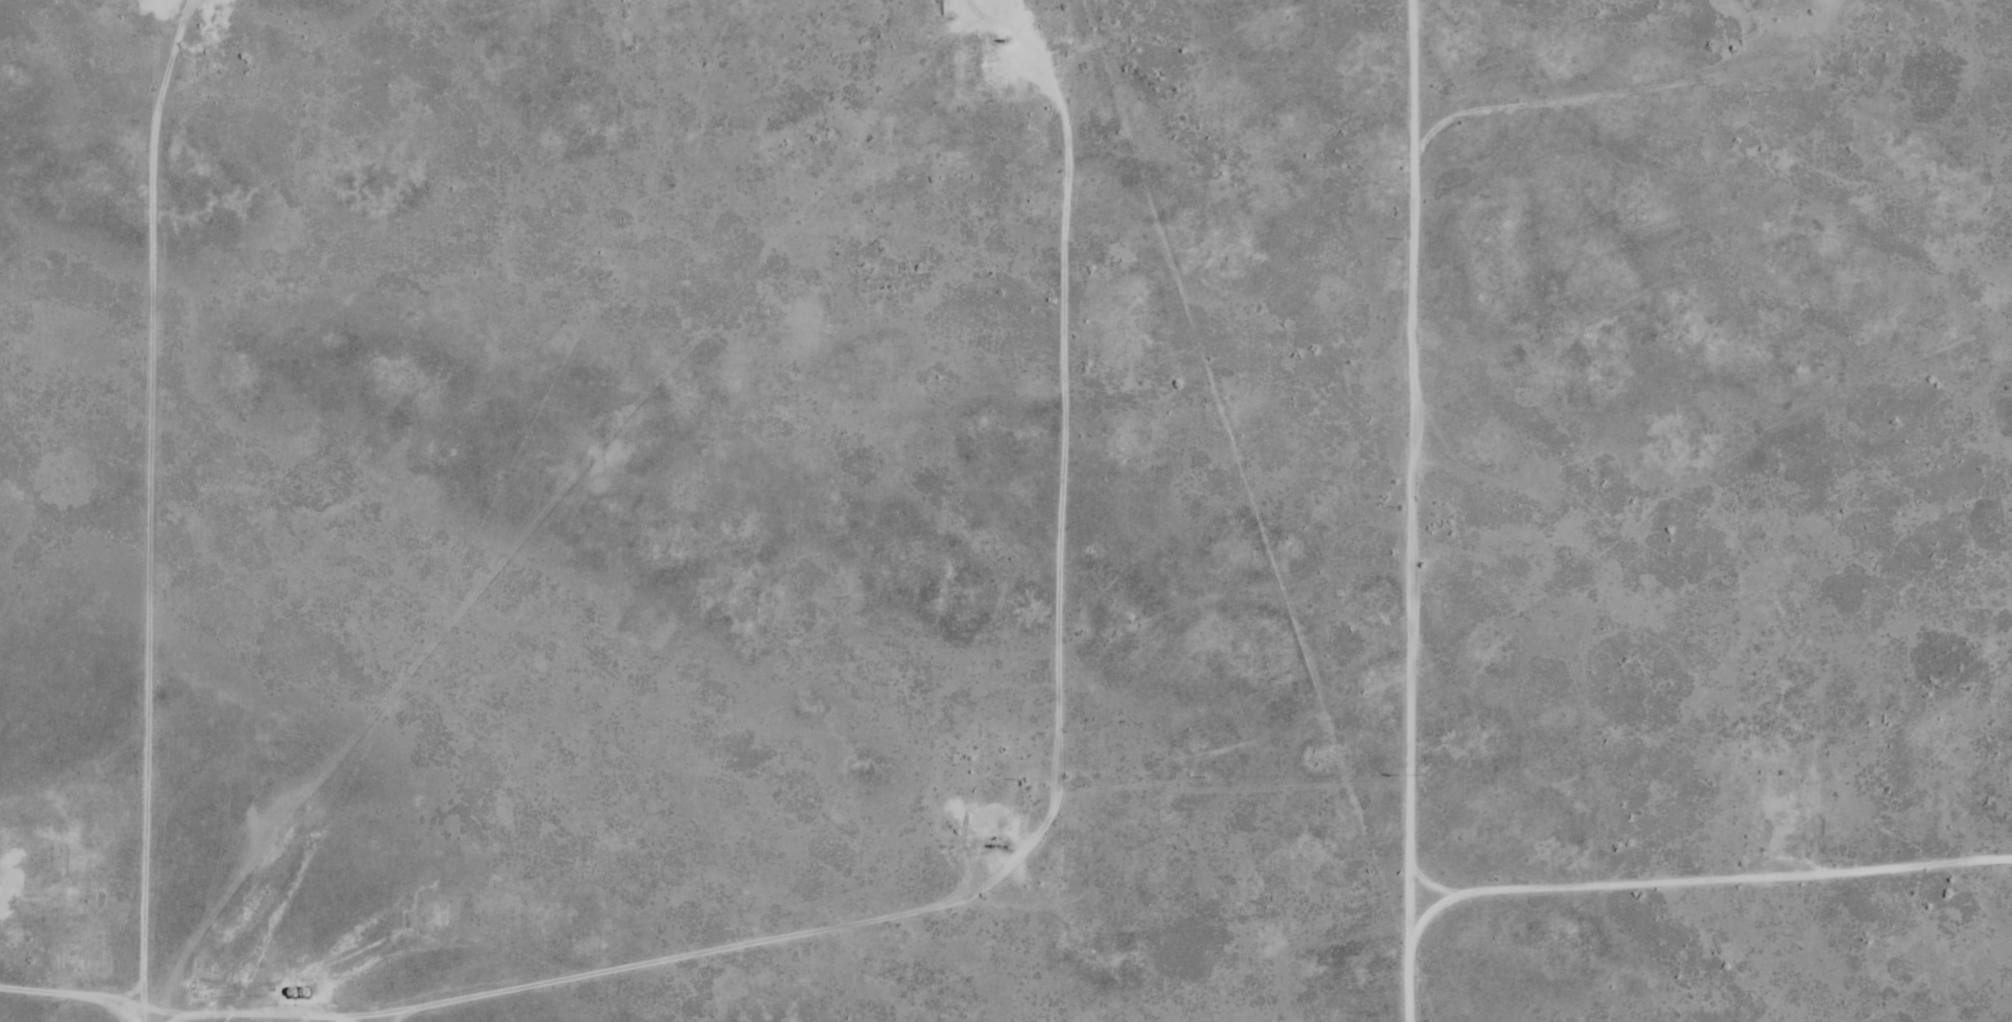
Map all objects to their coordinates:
road: (1389, 510)
road: (146, 575)
road: (1705, 866)
road: (1046, 919)
road: (69, 997)
road: (351, 1013)

